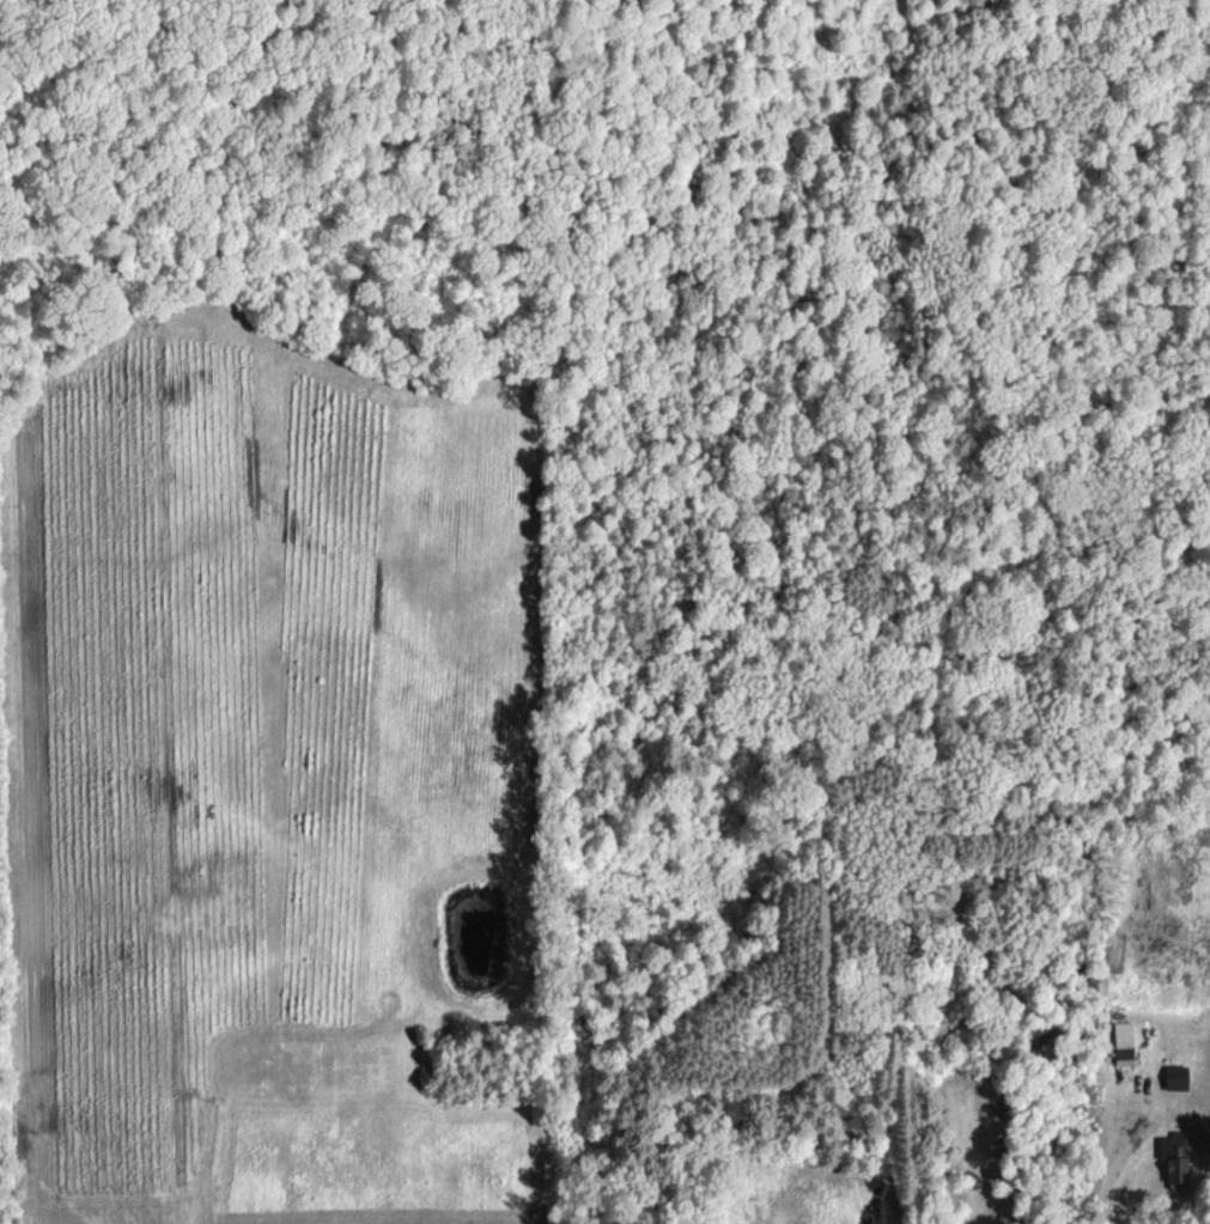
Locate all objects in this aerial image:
building: (1123, 1042)
building: (1174, 1077)
building: (1173, 1157)
road: (1117, 1161)

